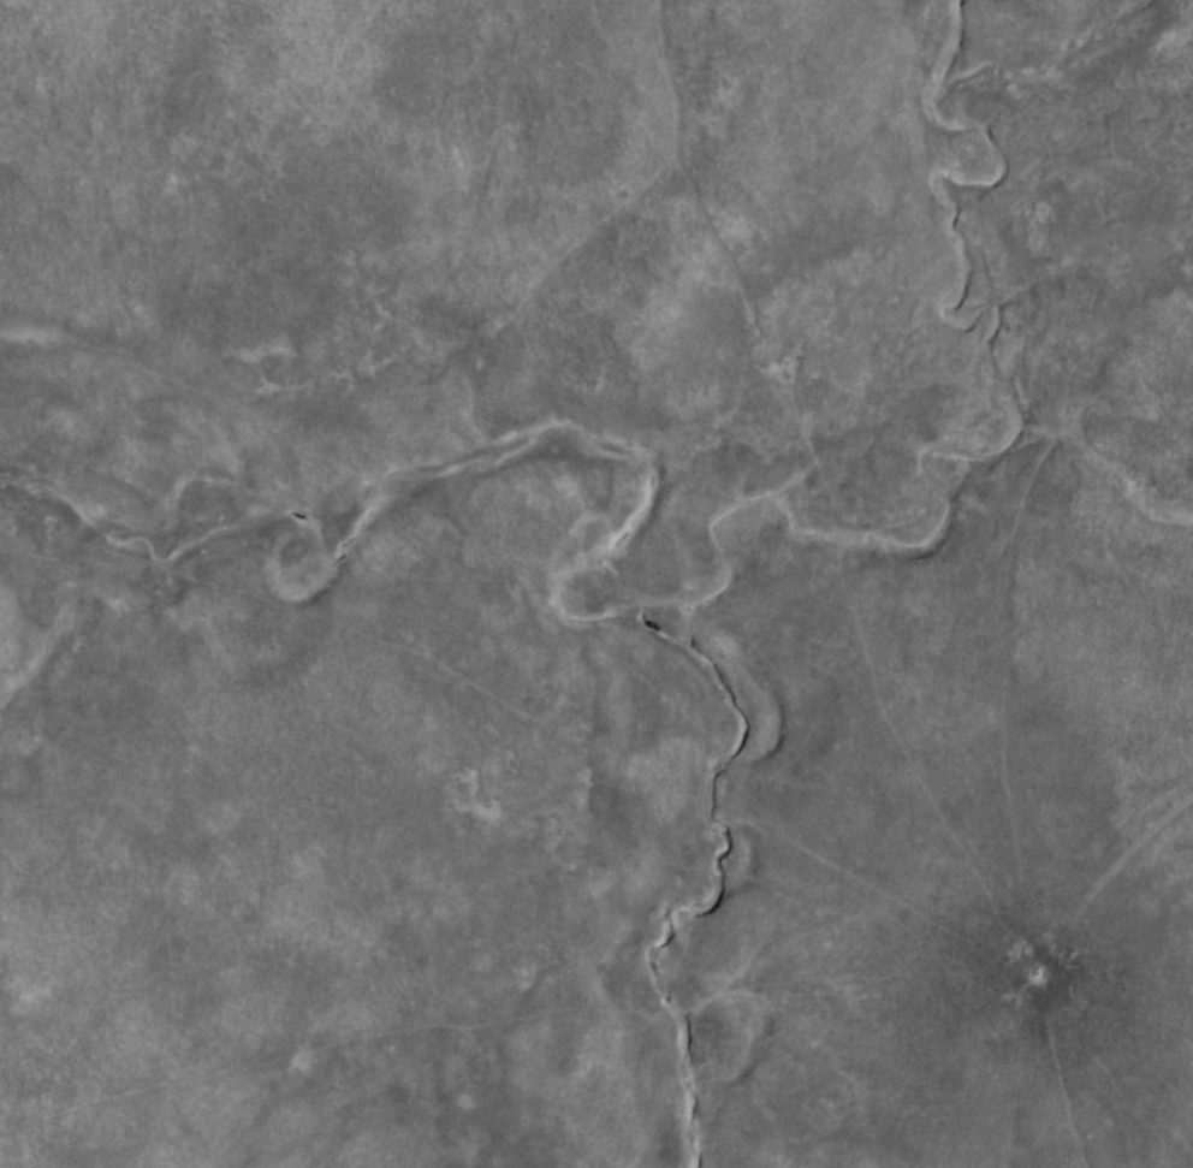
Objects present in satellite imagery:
building: (1035, 970)
storage tank: (1035, 970)

